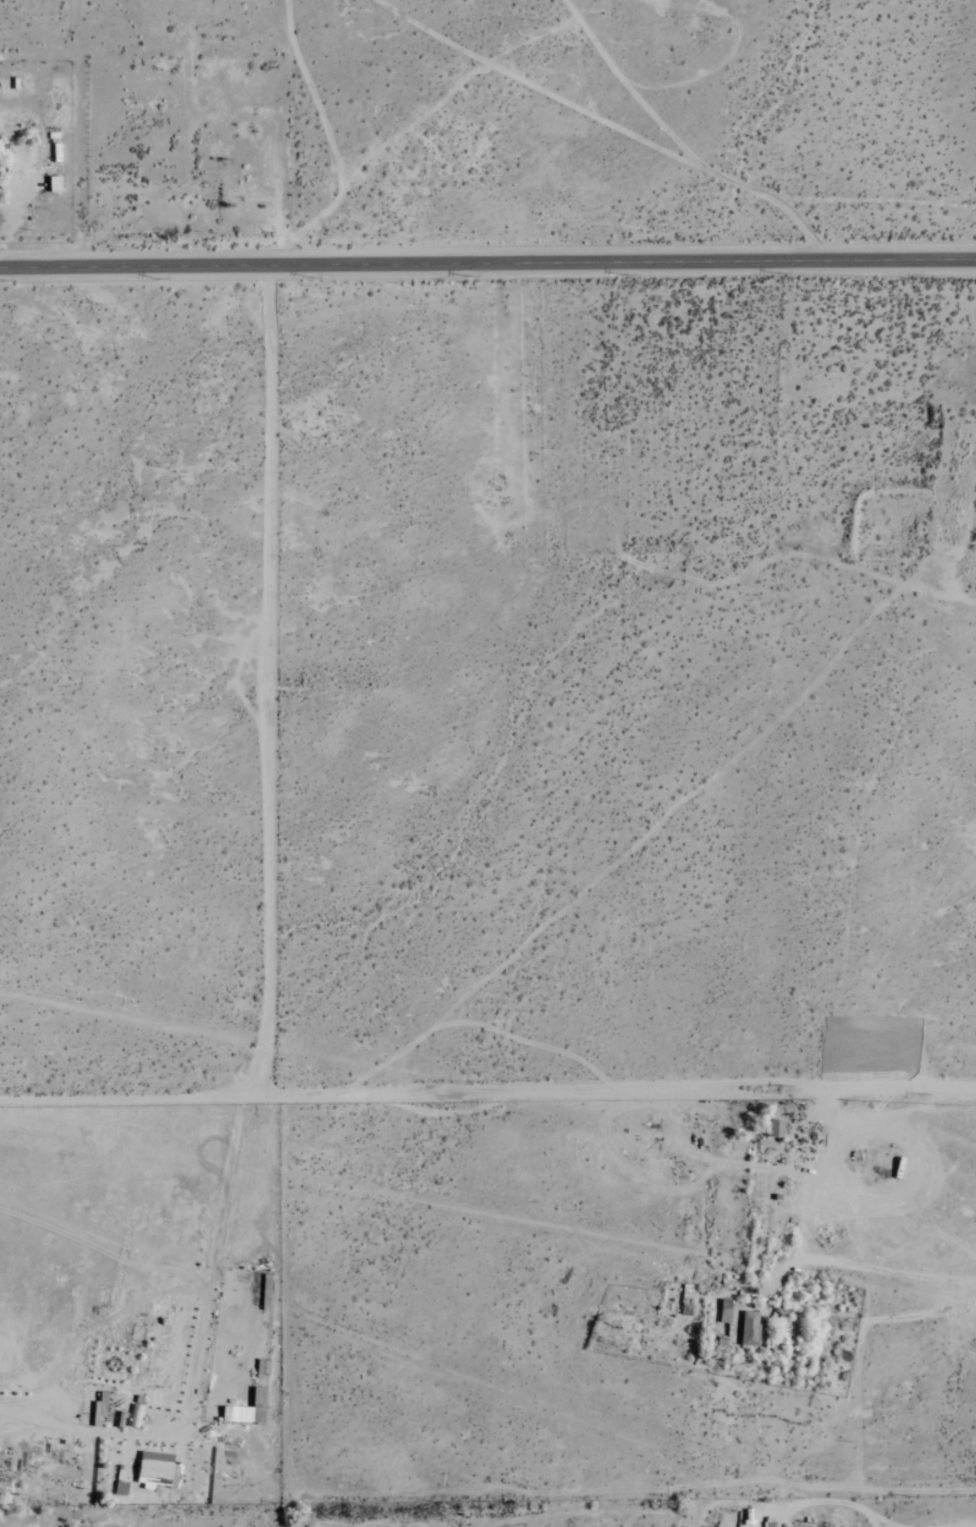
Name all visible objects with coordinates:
building: (53, 185)
road: (487, 263)
road: (264, 678)
road: (487, 1090)
building: (774, 1130)
building: (725, 1312)
building: (749, 1329)
building: (243, 1409)
building: (154, 1469)

